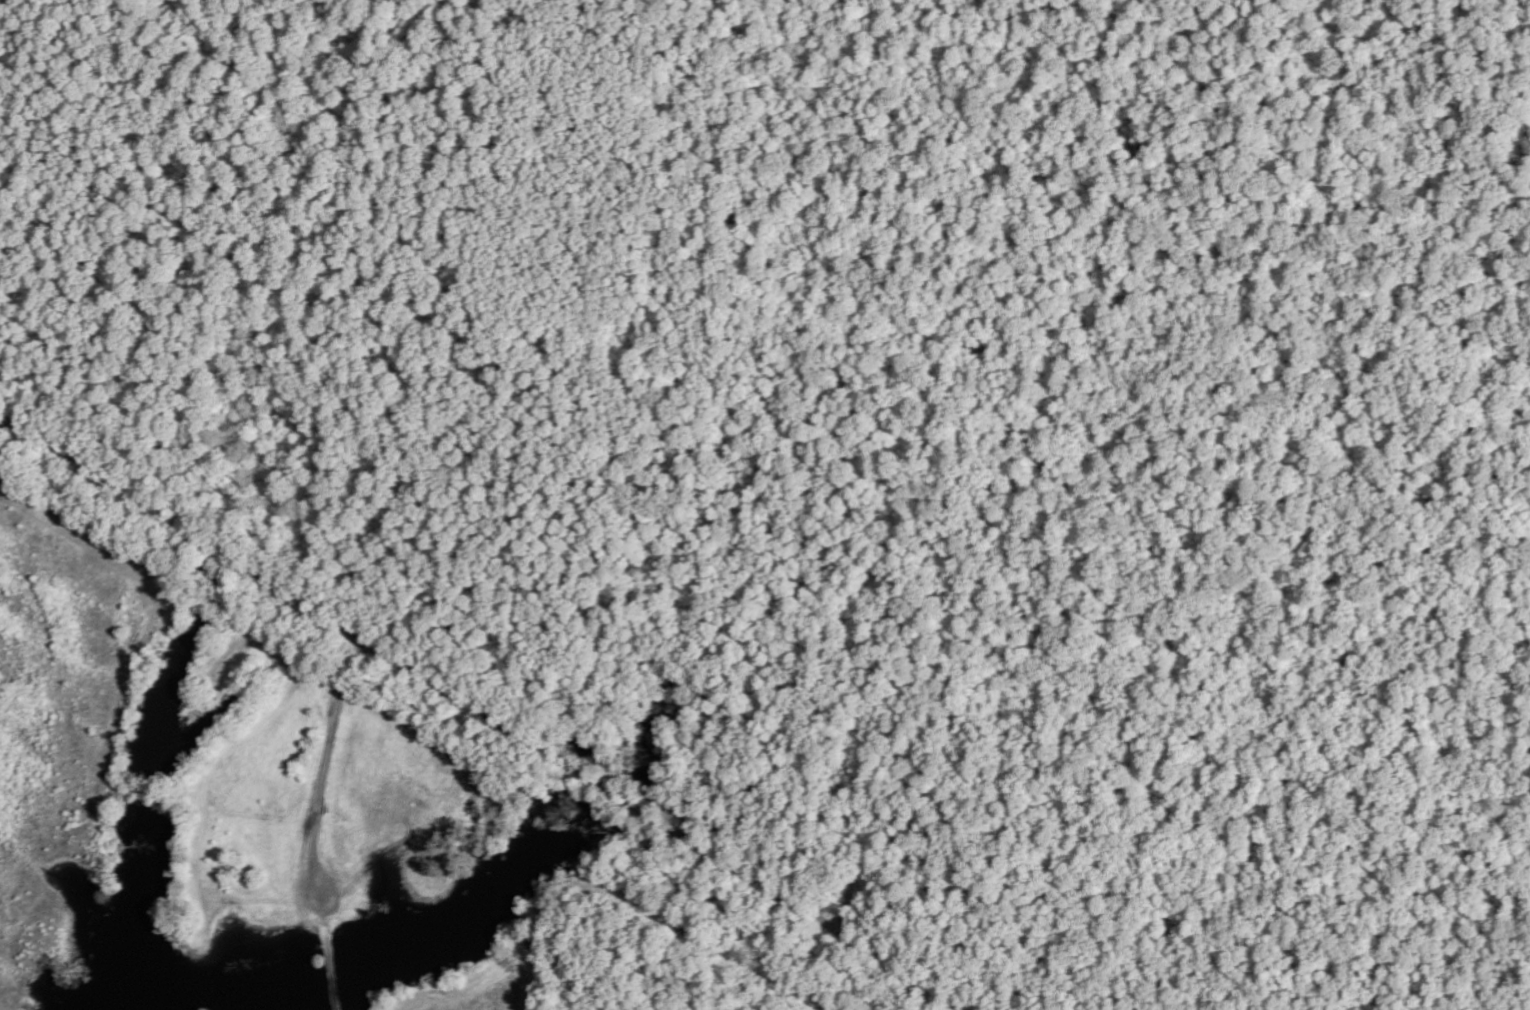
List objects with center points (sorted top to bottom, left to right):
road: (449, 736)

